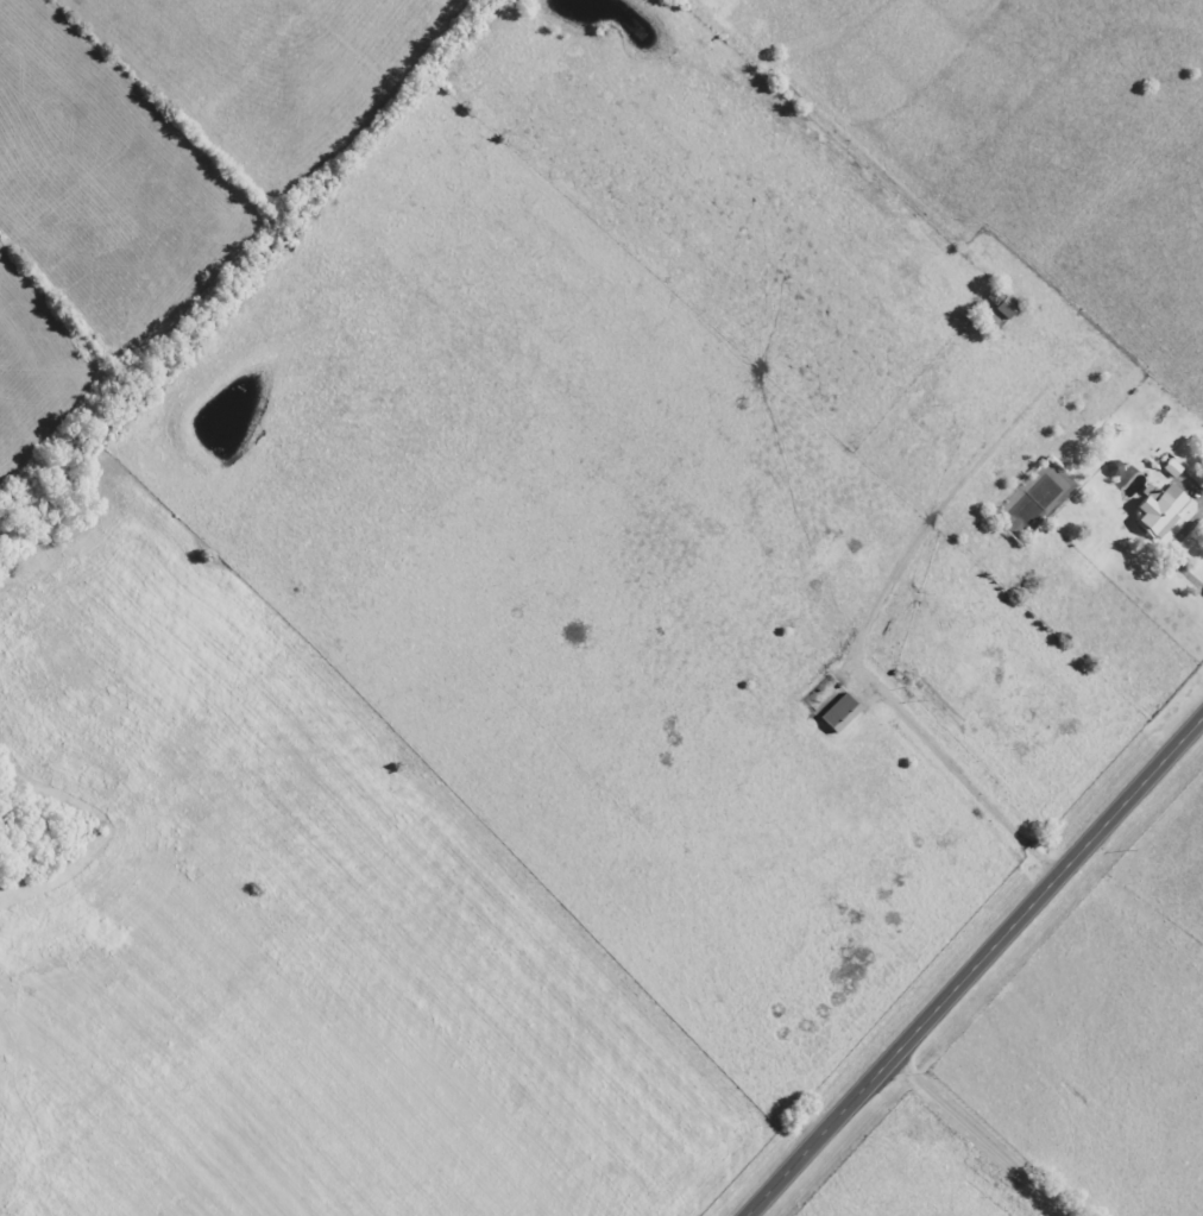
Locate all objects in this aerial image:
building: (1003, 303)
building: (1173, 470)
building: (1163, 512)
road: (1170, 538)
building: (842, 713)
road: (975, 966)
road: (980, 1139)

